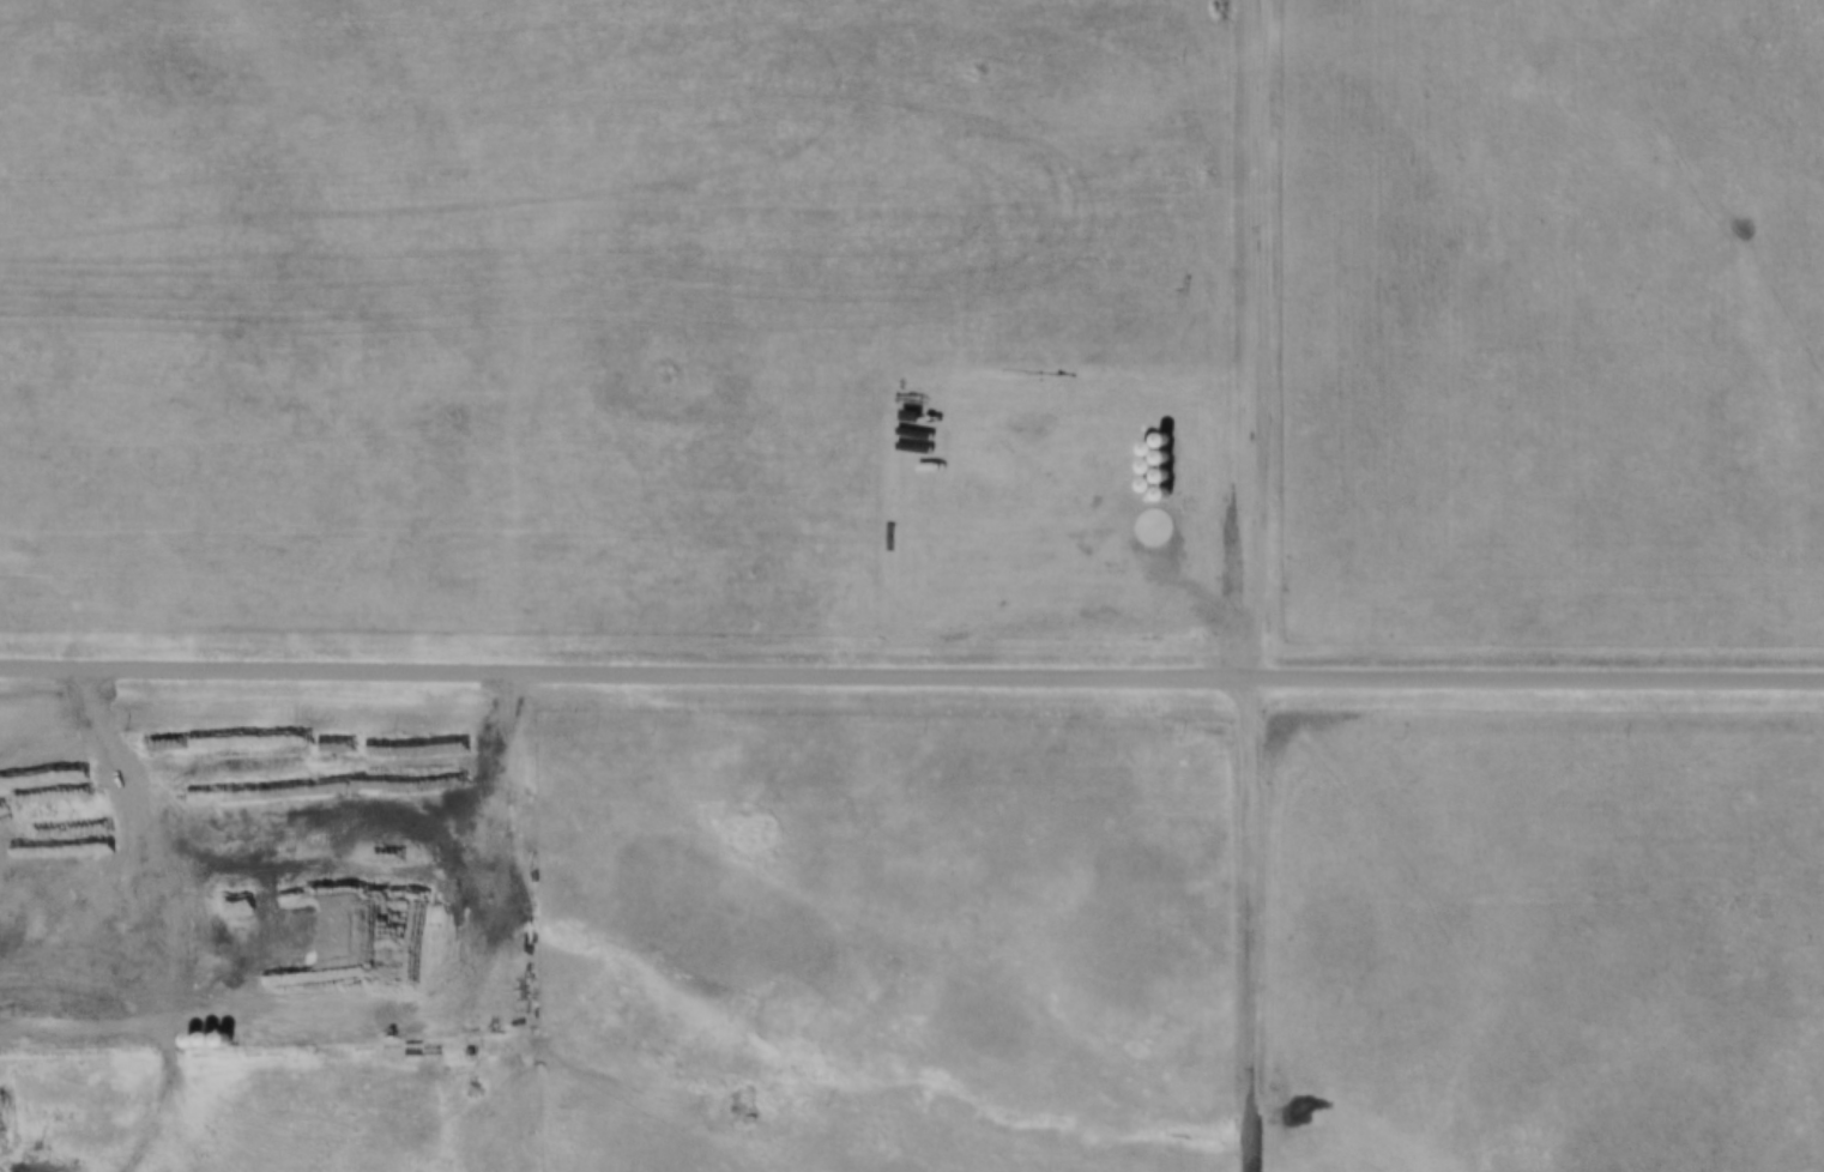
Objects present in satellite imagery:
road: (1261, 585)
road: (911, 673)

